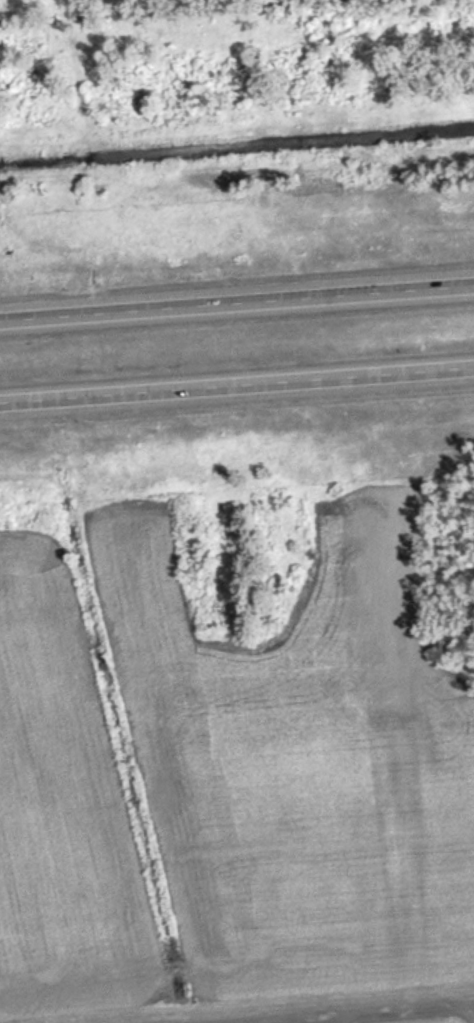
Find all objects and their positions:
road: (236, 301)
road: (236, 382)
road: (381, 1015)

